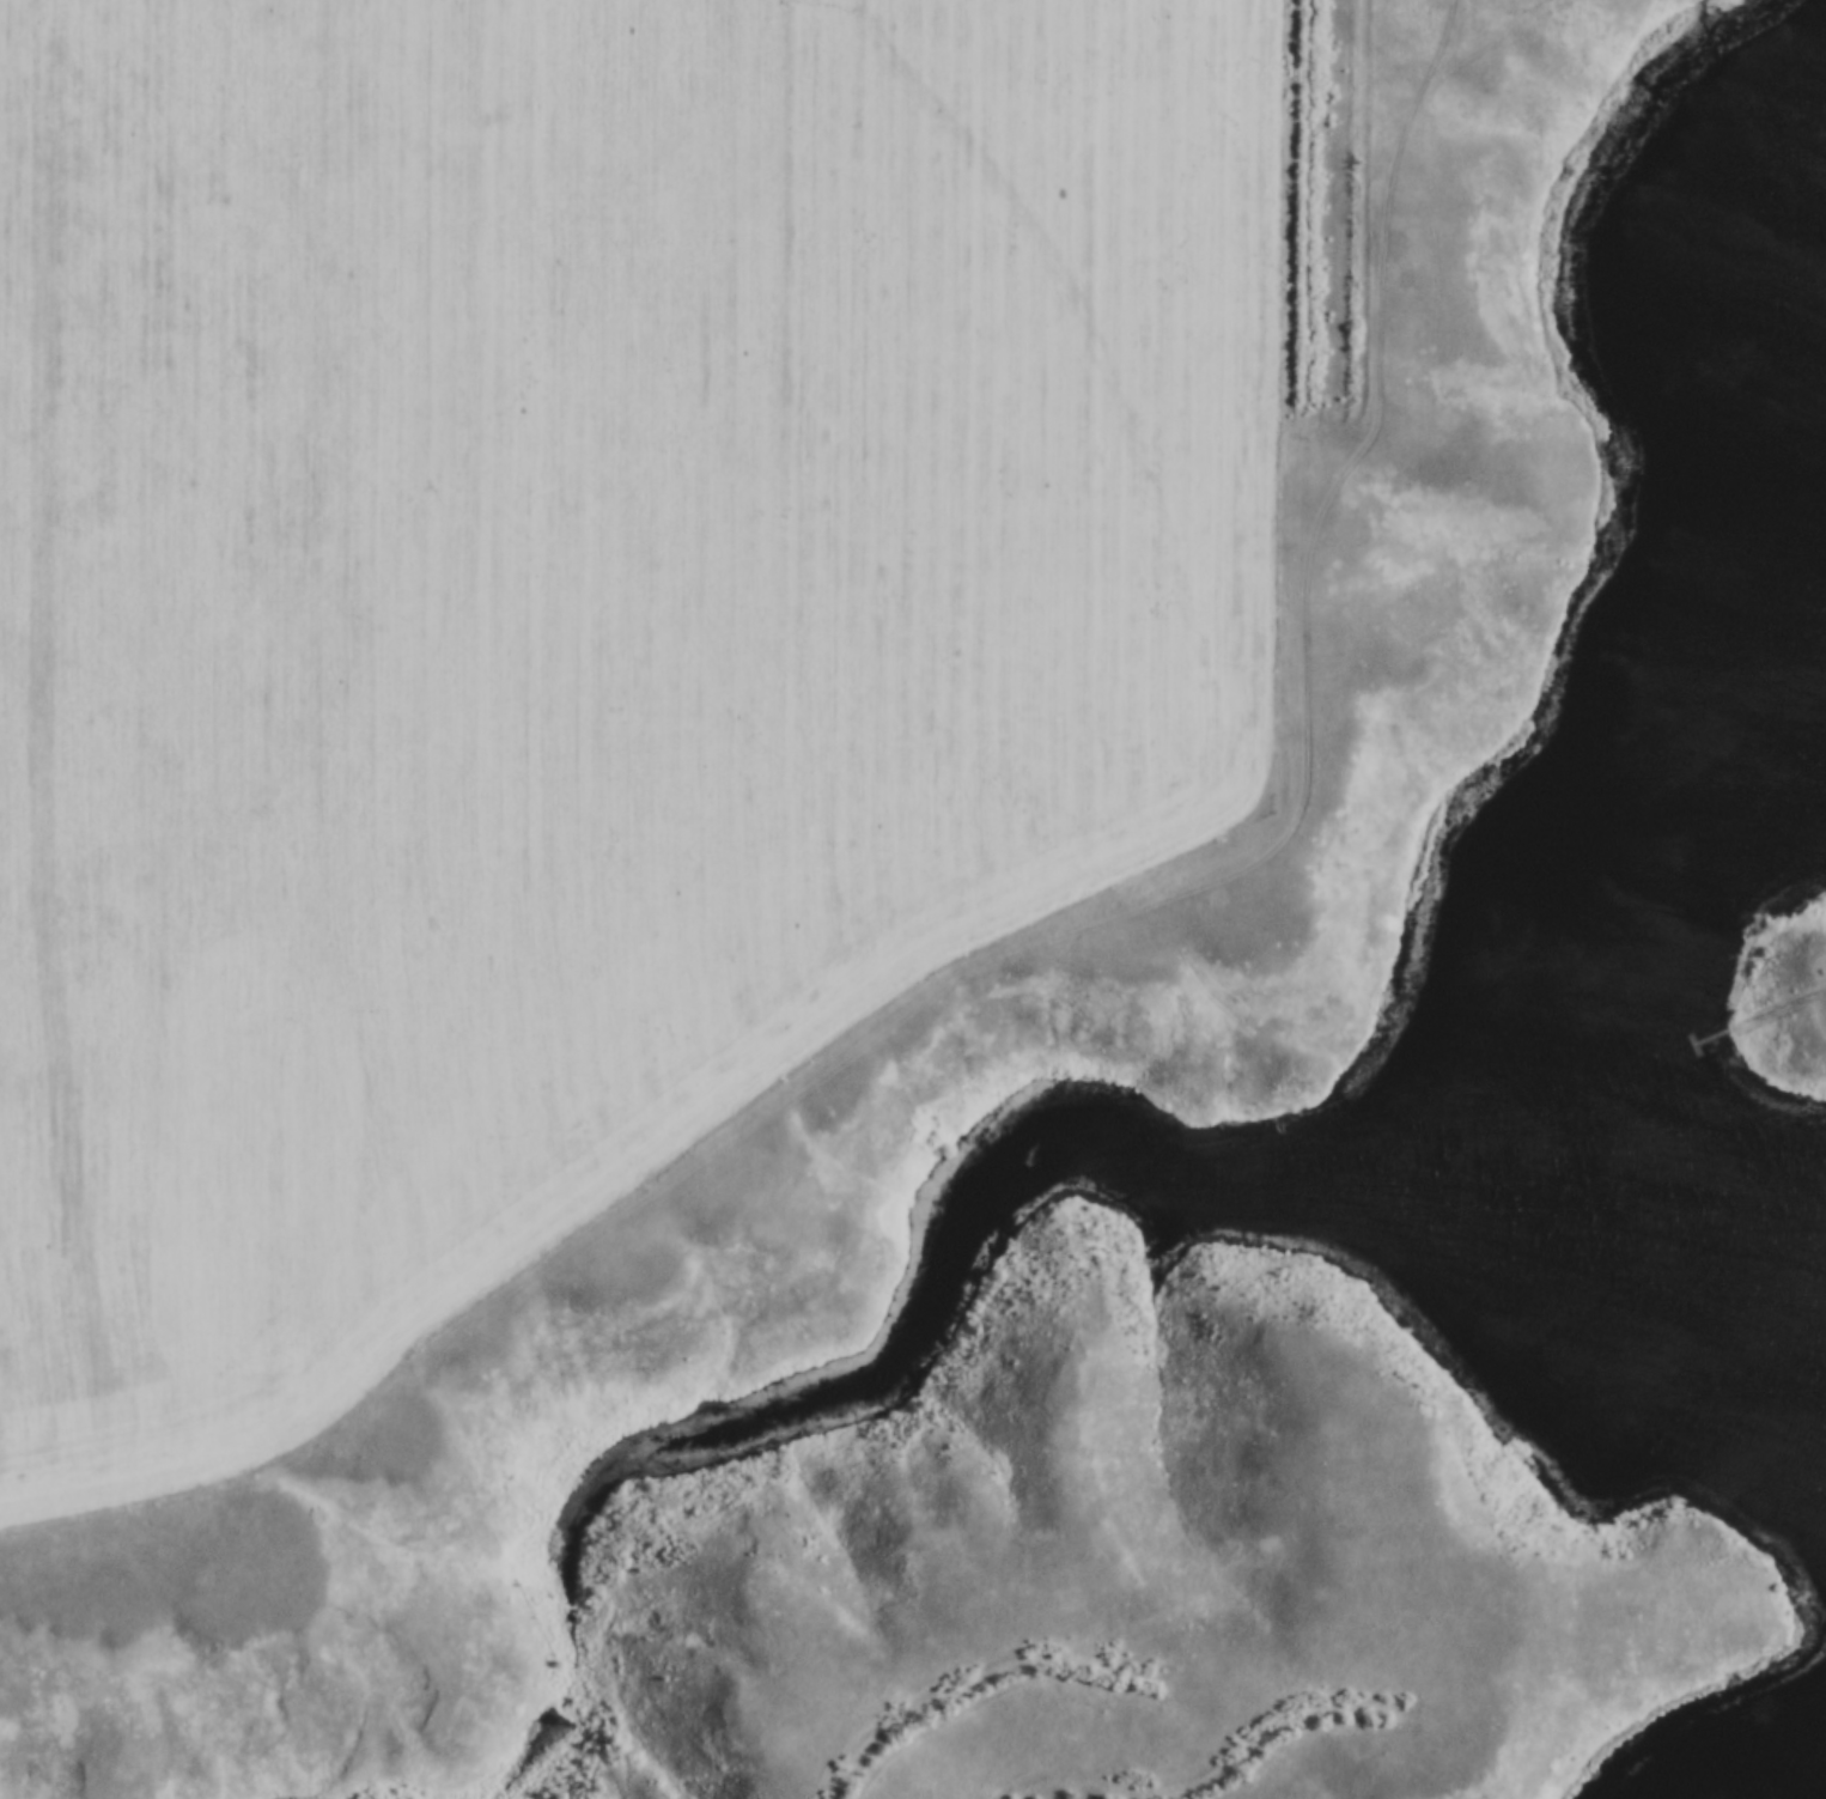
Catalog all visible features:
park: (1286, 1104)

